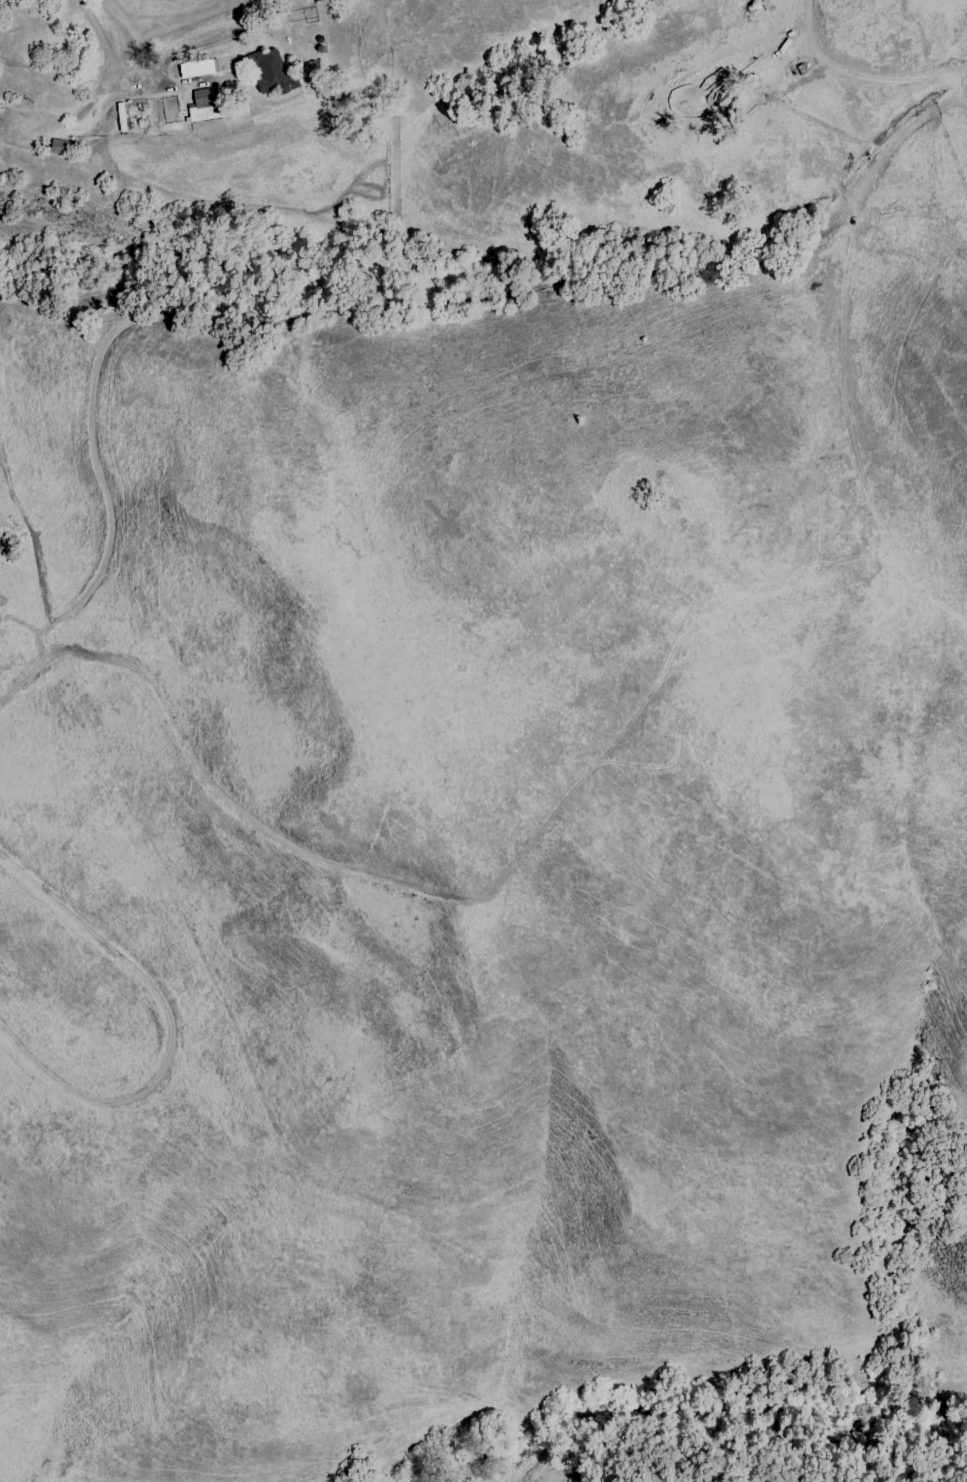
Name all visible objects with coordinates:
building: (202, 67)
road: (849, 71)
building: (270, 72)

